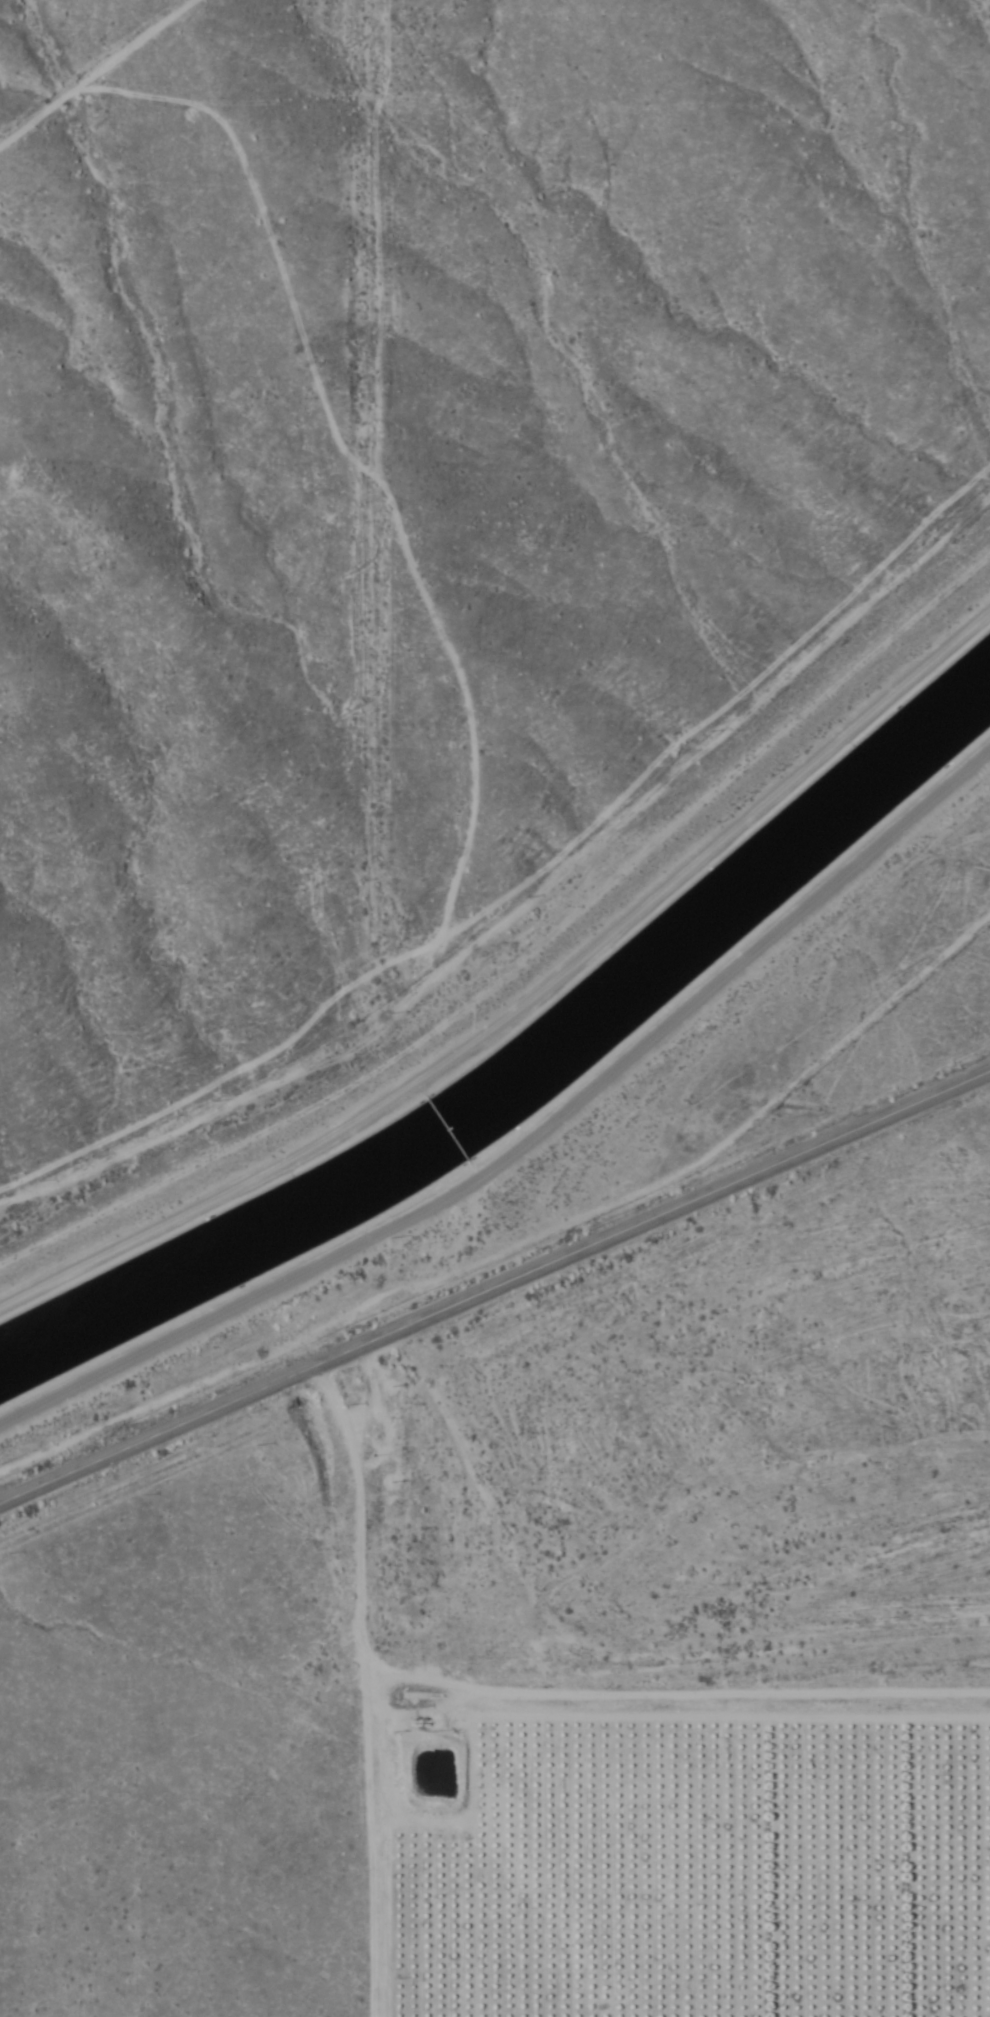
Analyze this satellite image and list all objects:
road: (94, 69)
road: (527, 1003)
road: (718, 1108)
road: (531, 1136)
road: (495, 1287)
road: (521, 1699)
road: (370, 1841)

